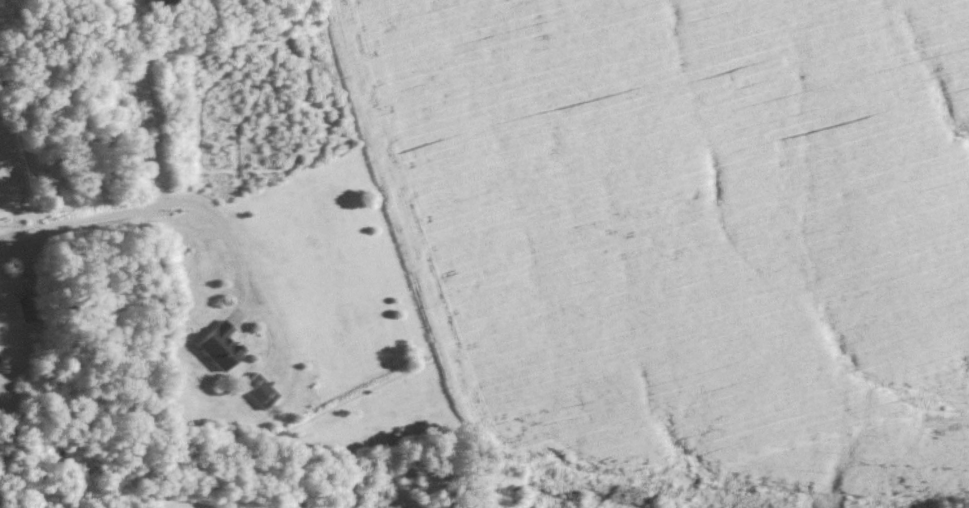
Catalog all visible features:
road: (153, 206)
building: (28, 308)
building: (222, 347)
building: (261, 391)

